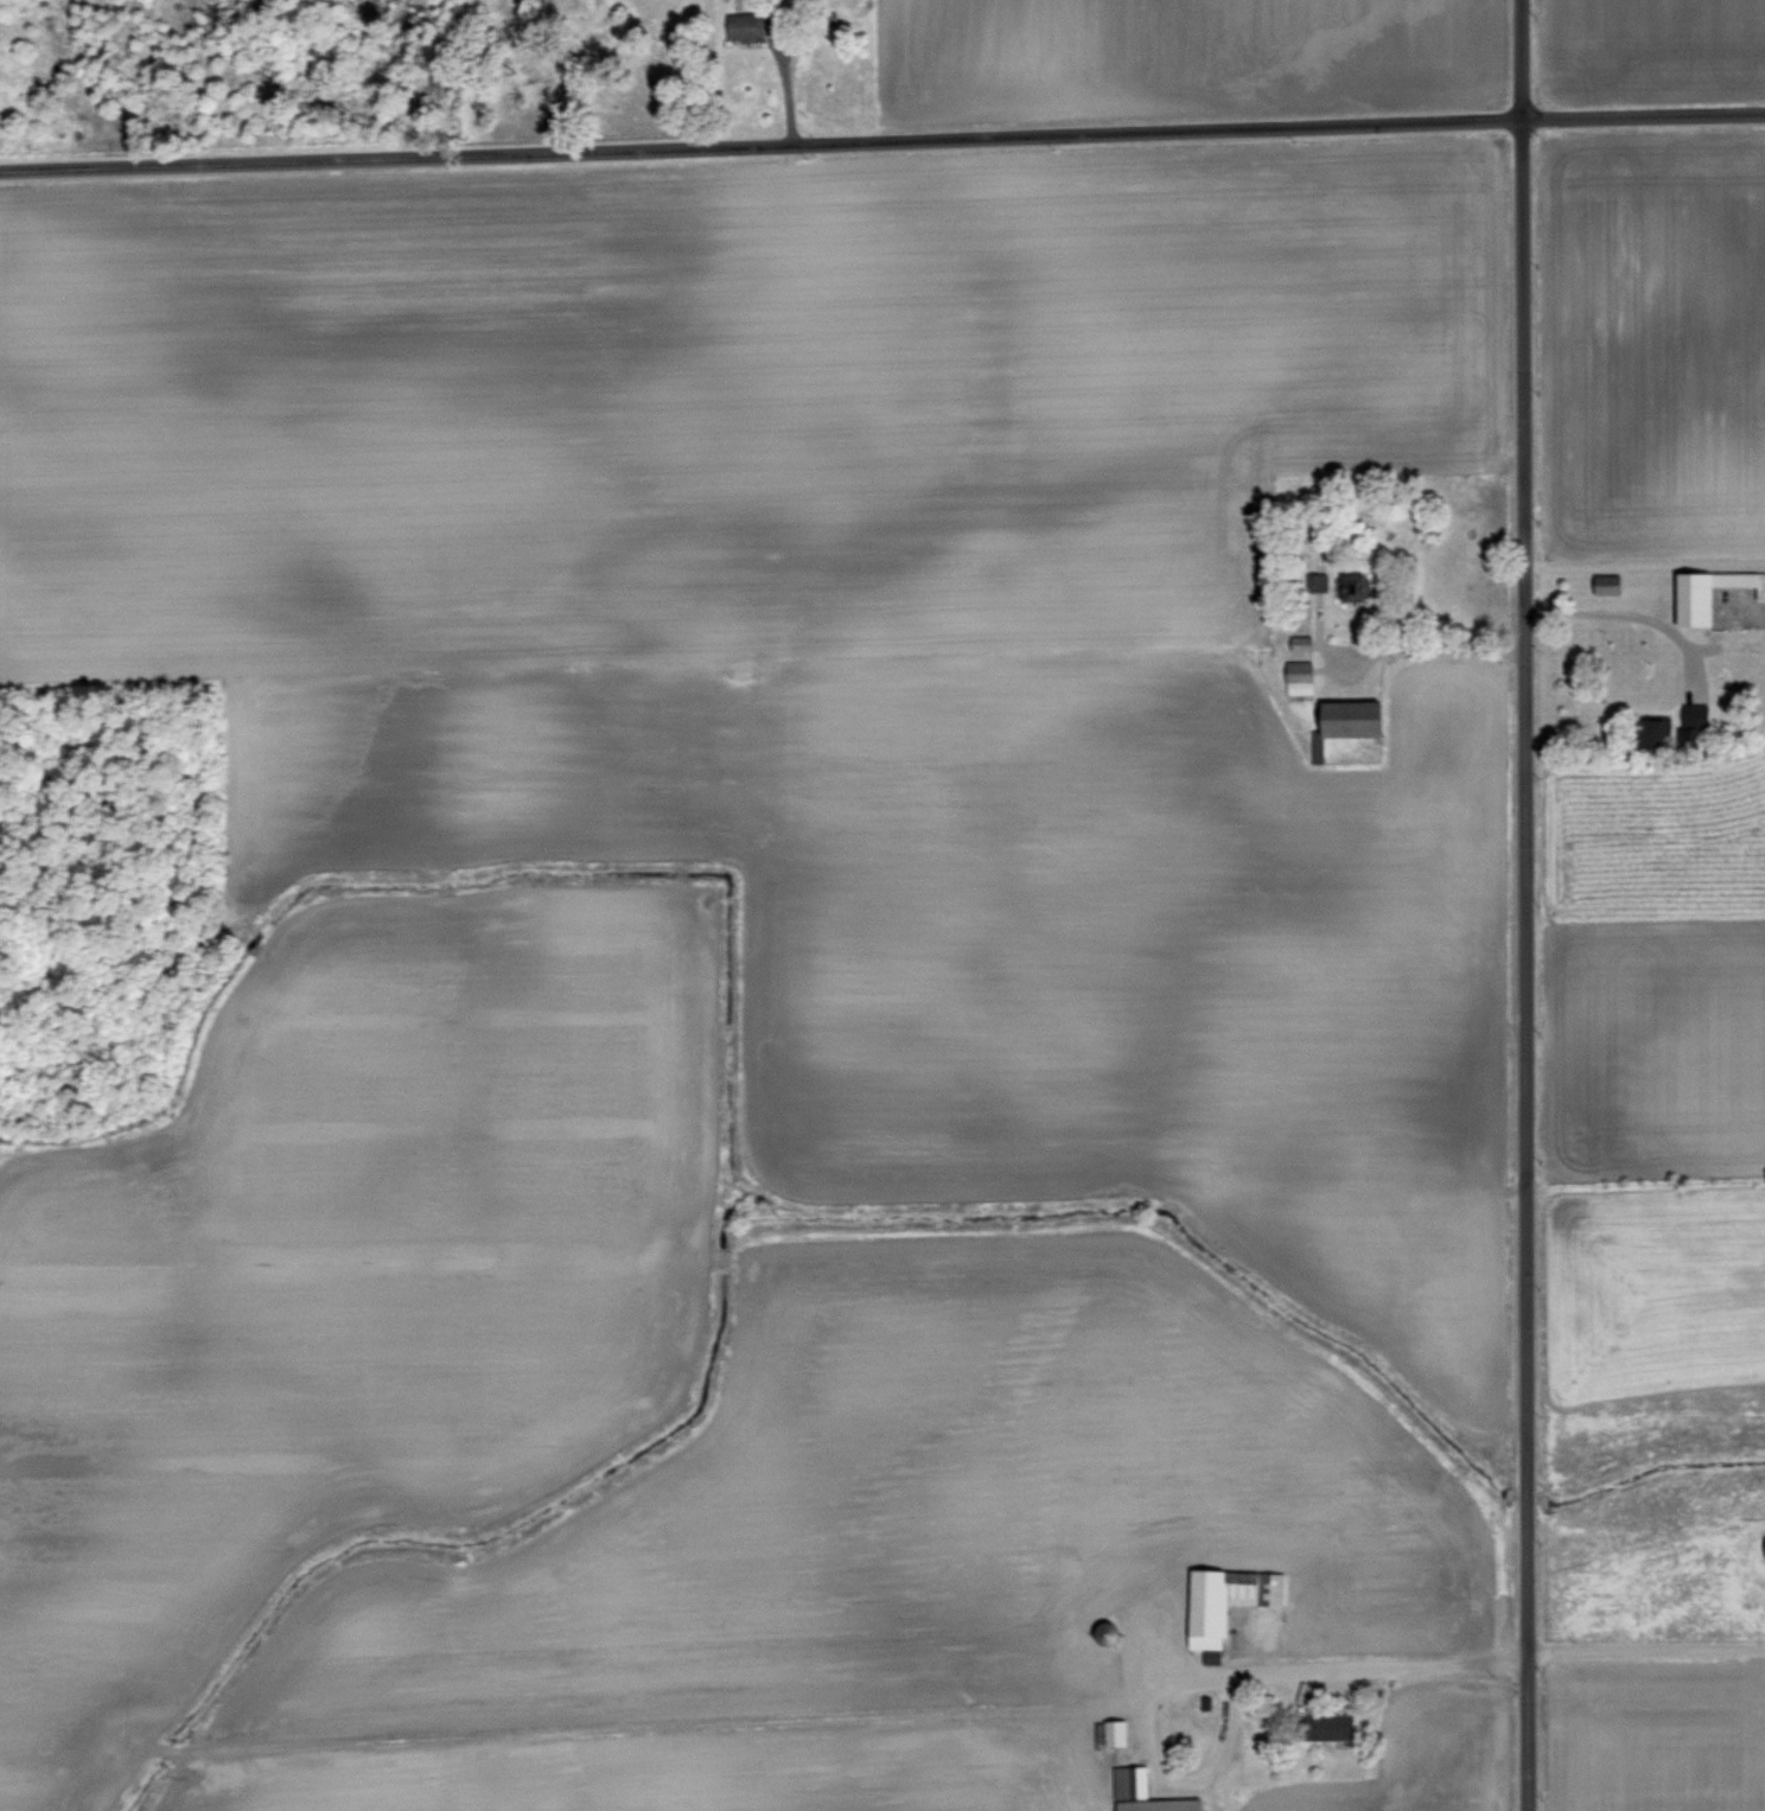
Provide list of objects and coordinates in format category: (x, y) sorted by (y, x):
building: (748, 25)
road: (881, 139)
building: (1325, 580)
building: (1713, 593)
road: (1627, 611)
road: (1435, 651)
building: (1302, 675)
building: (1694, 713)
building: (1353, 721)
building: (1659, 729)
road: (1518, 905)
building: (1230, 1599)
road: (1644, 1646)
road: (1398, 1665)
building: (1338, 1726)
building: (1147, 1792)

